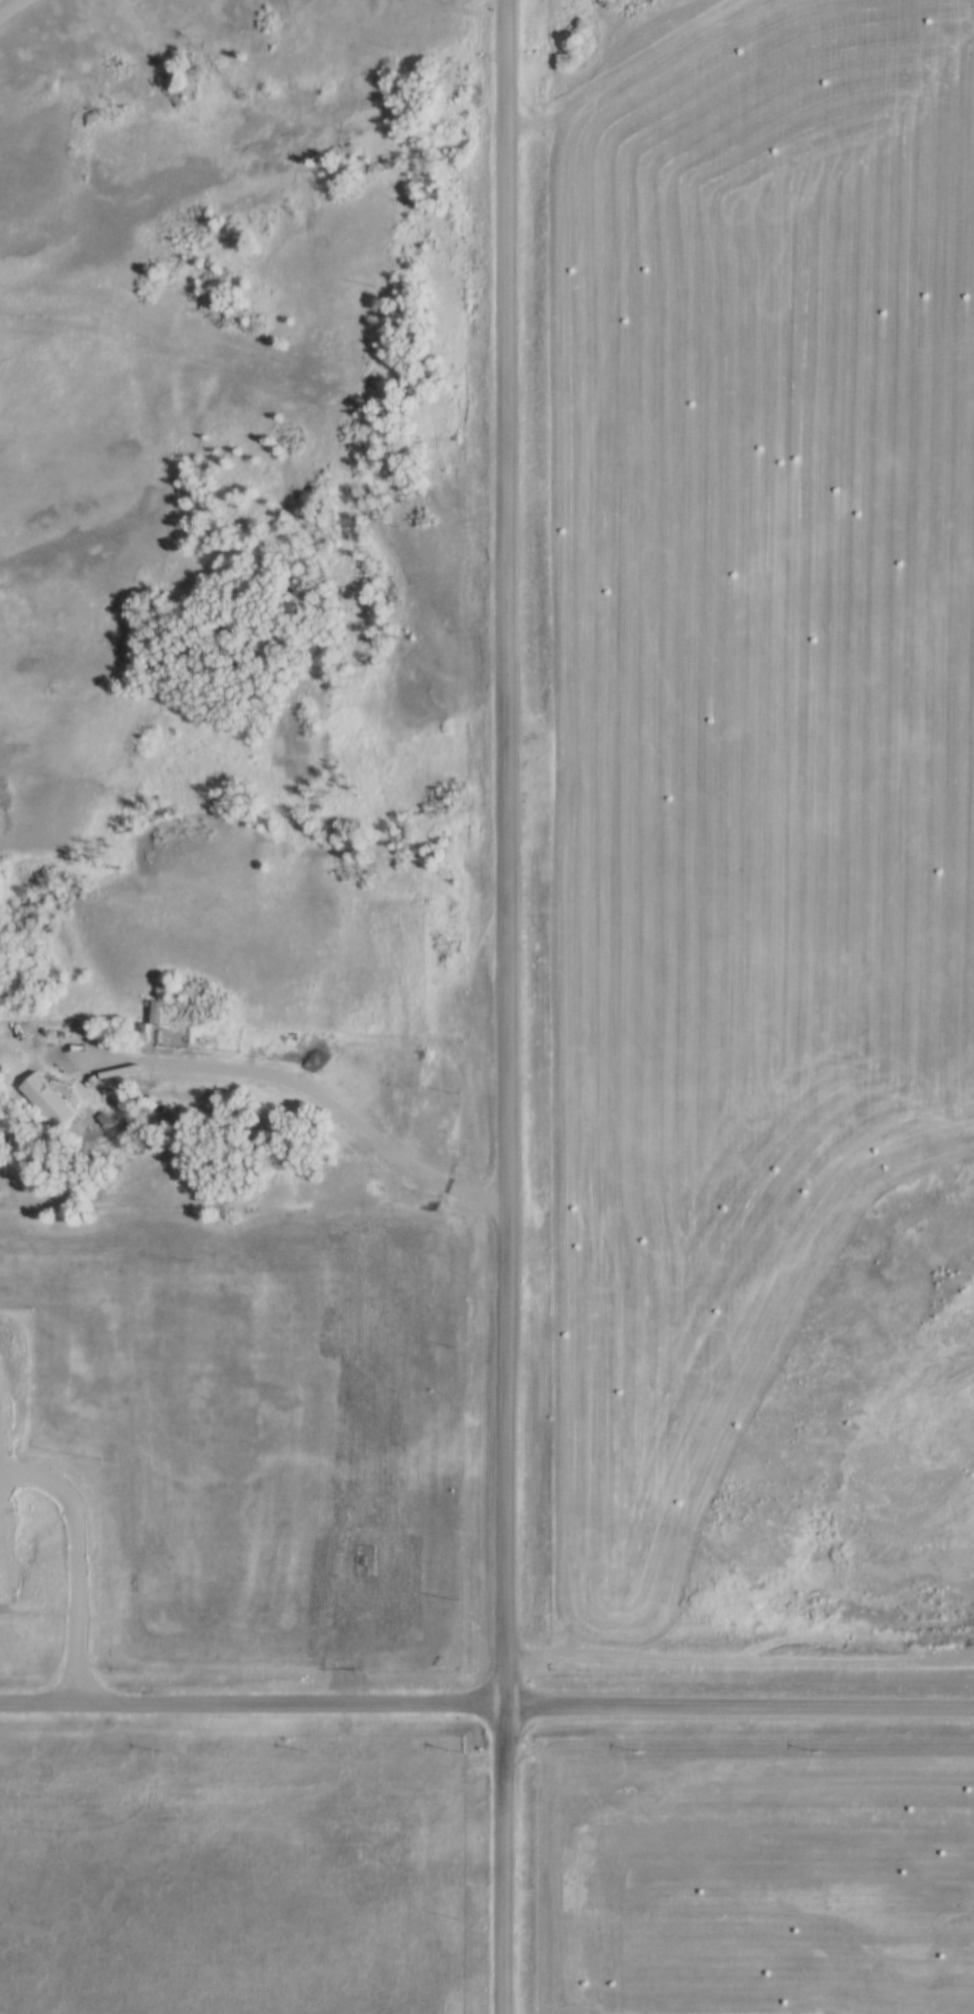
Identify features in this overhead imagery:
road: (504, 1007)
building: (150, 1011)
road: (298, 1090)
building: (47, 1110)
quarry: (896, 1420)
road: (251, 1708)
road: (738, 1711)

